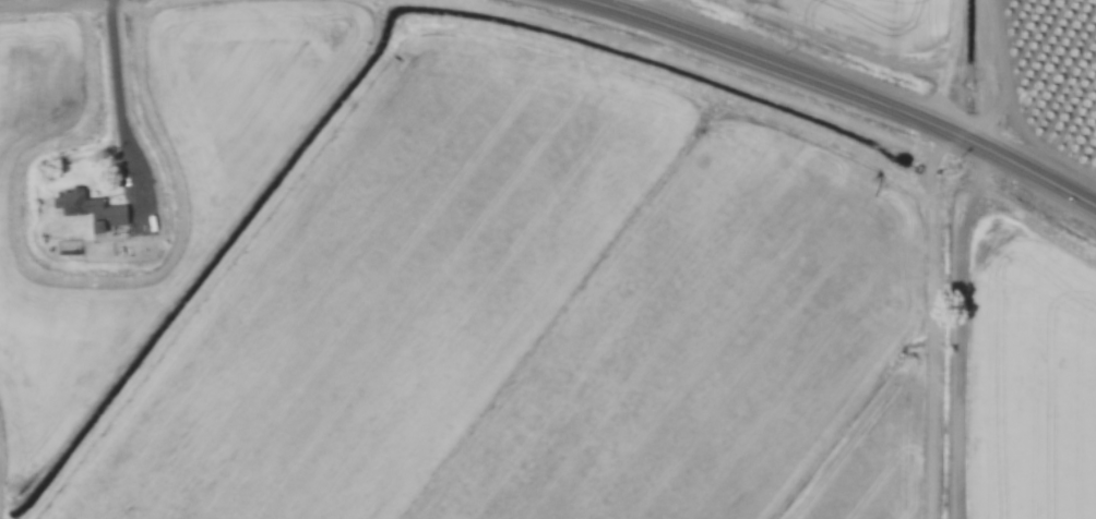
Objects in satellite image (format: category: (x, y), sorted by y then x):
road: (822, 88)
road: (119, 97)
building: (95, 210)
crop: (532, 318)
crop: (1025, 377)

